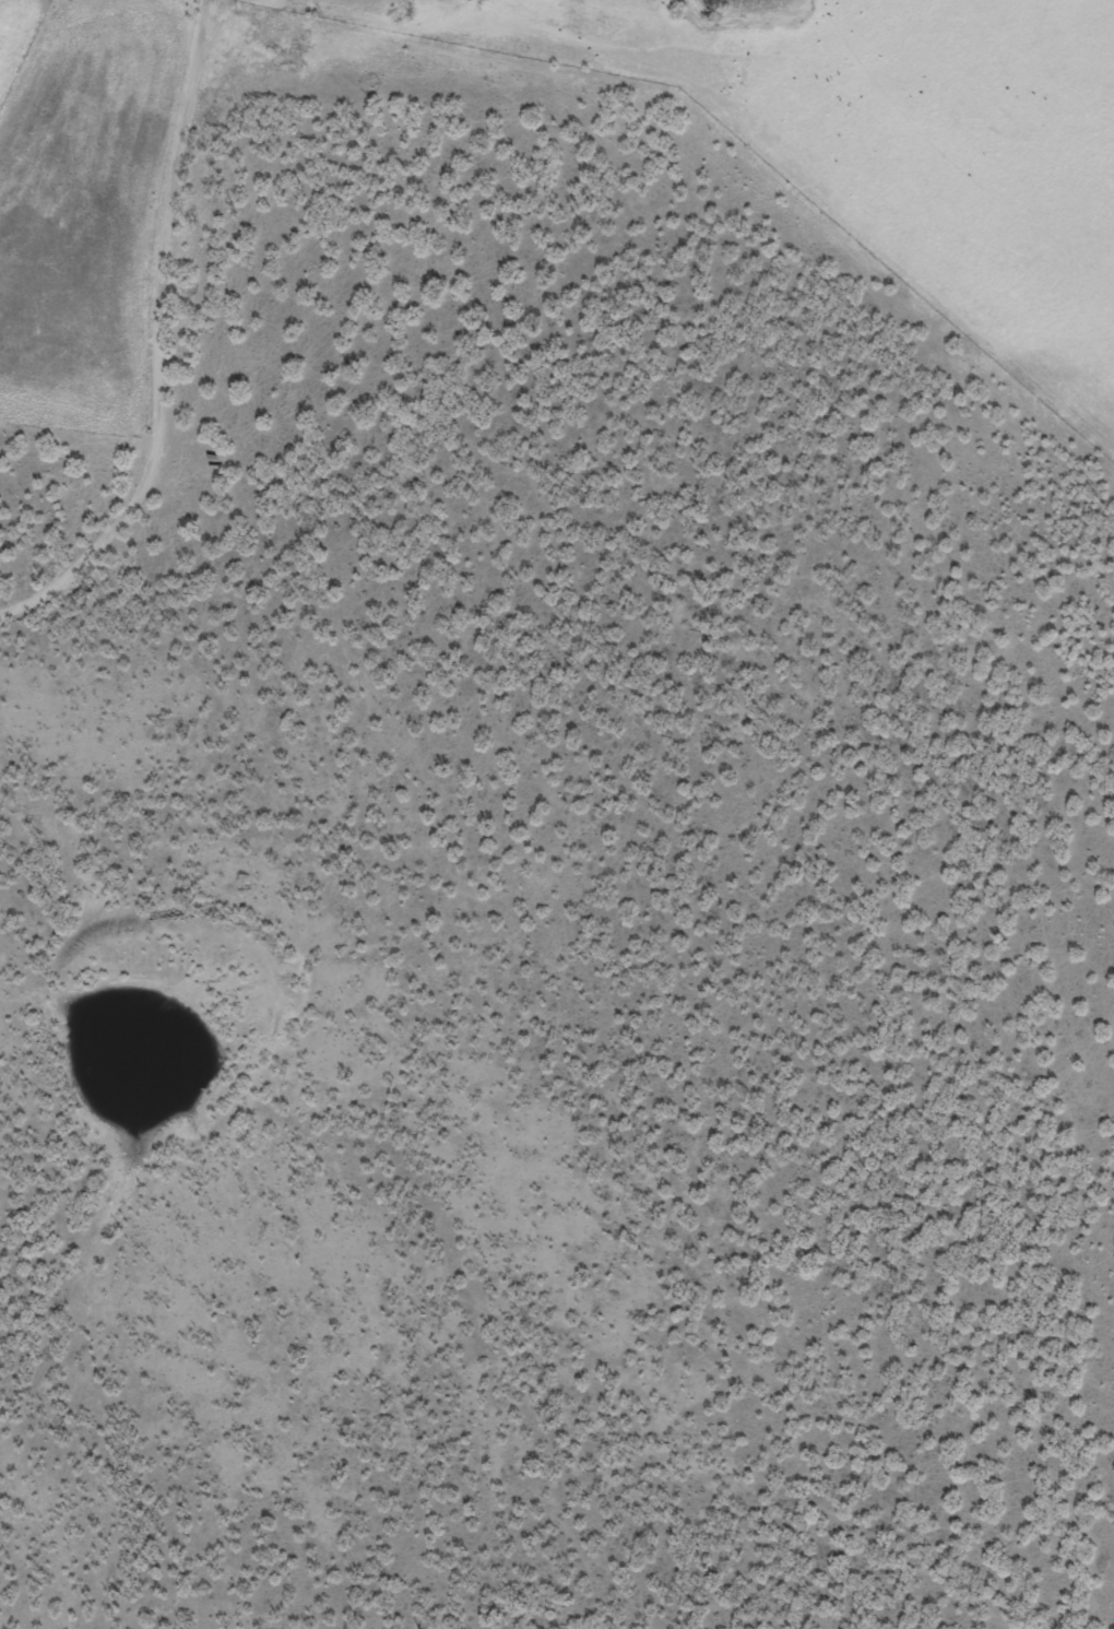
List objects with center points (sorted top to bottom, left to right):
road: (163, 342)

